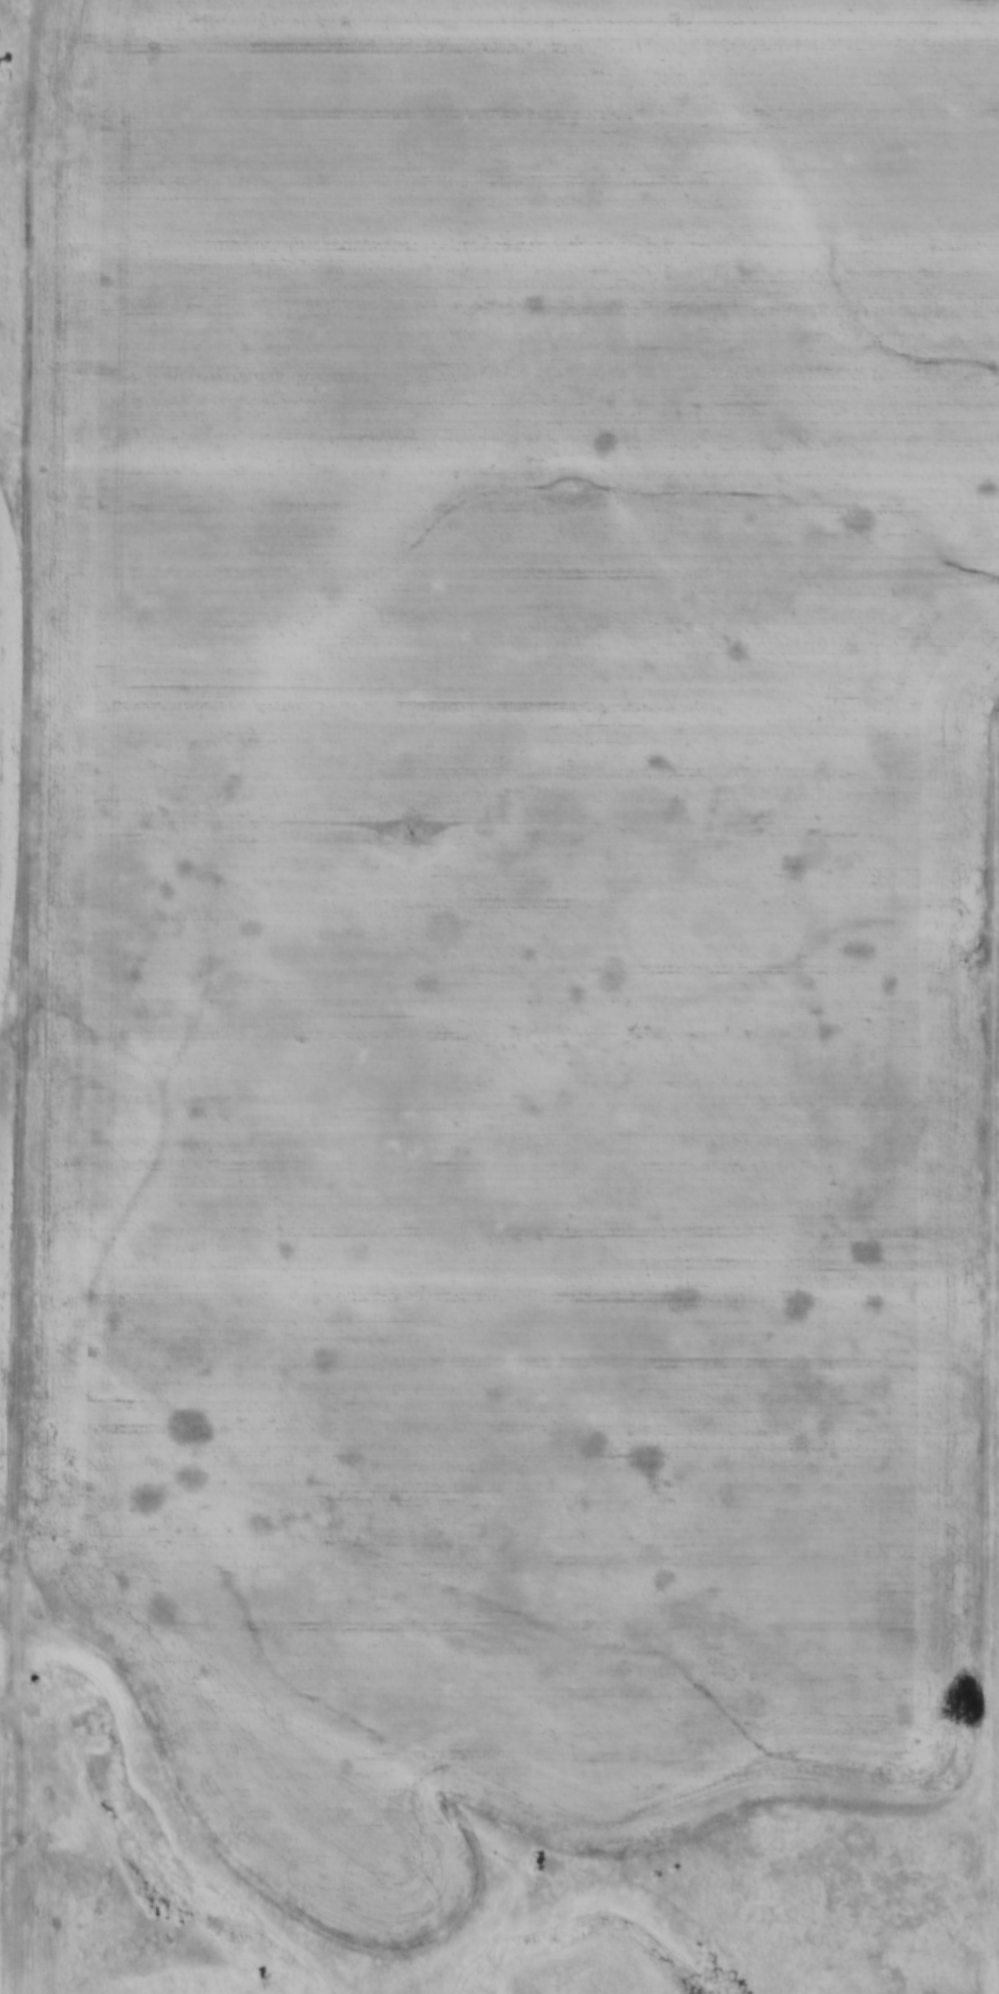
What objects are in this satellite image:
road: (25, 1032)
road: (9, 1626)
road: (10, 1715)
road: (19, 1854)

